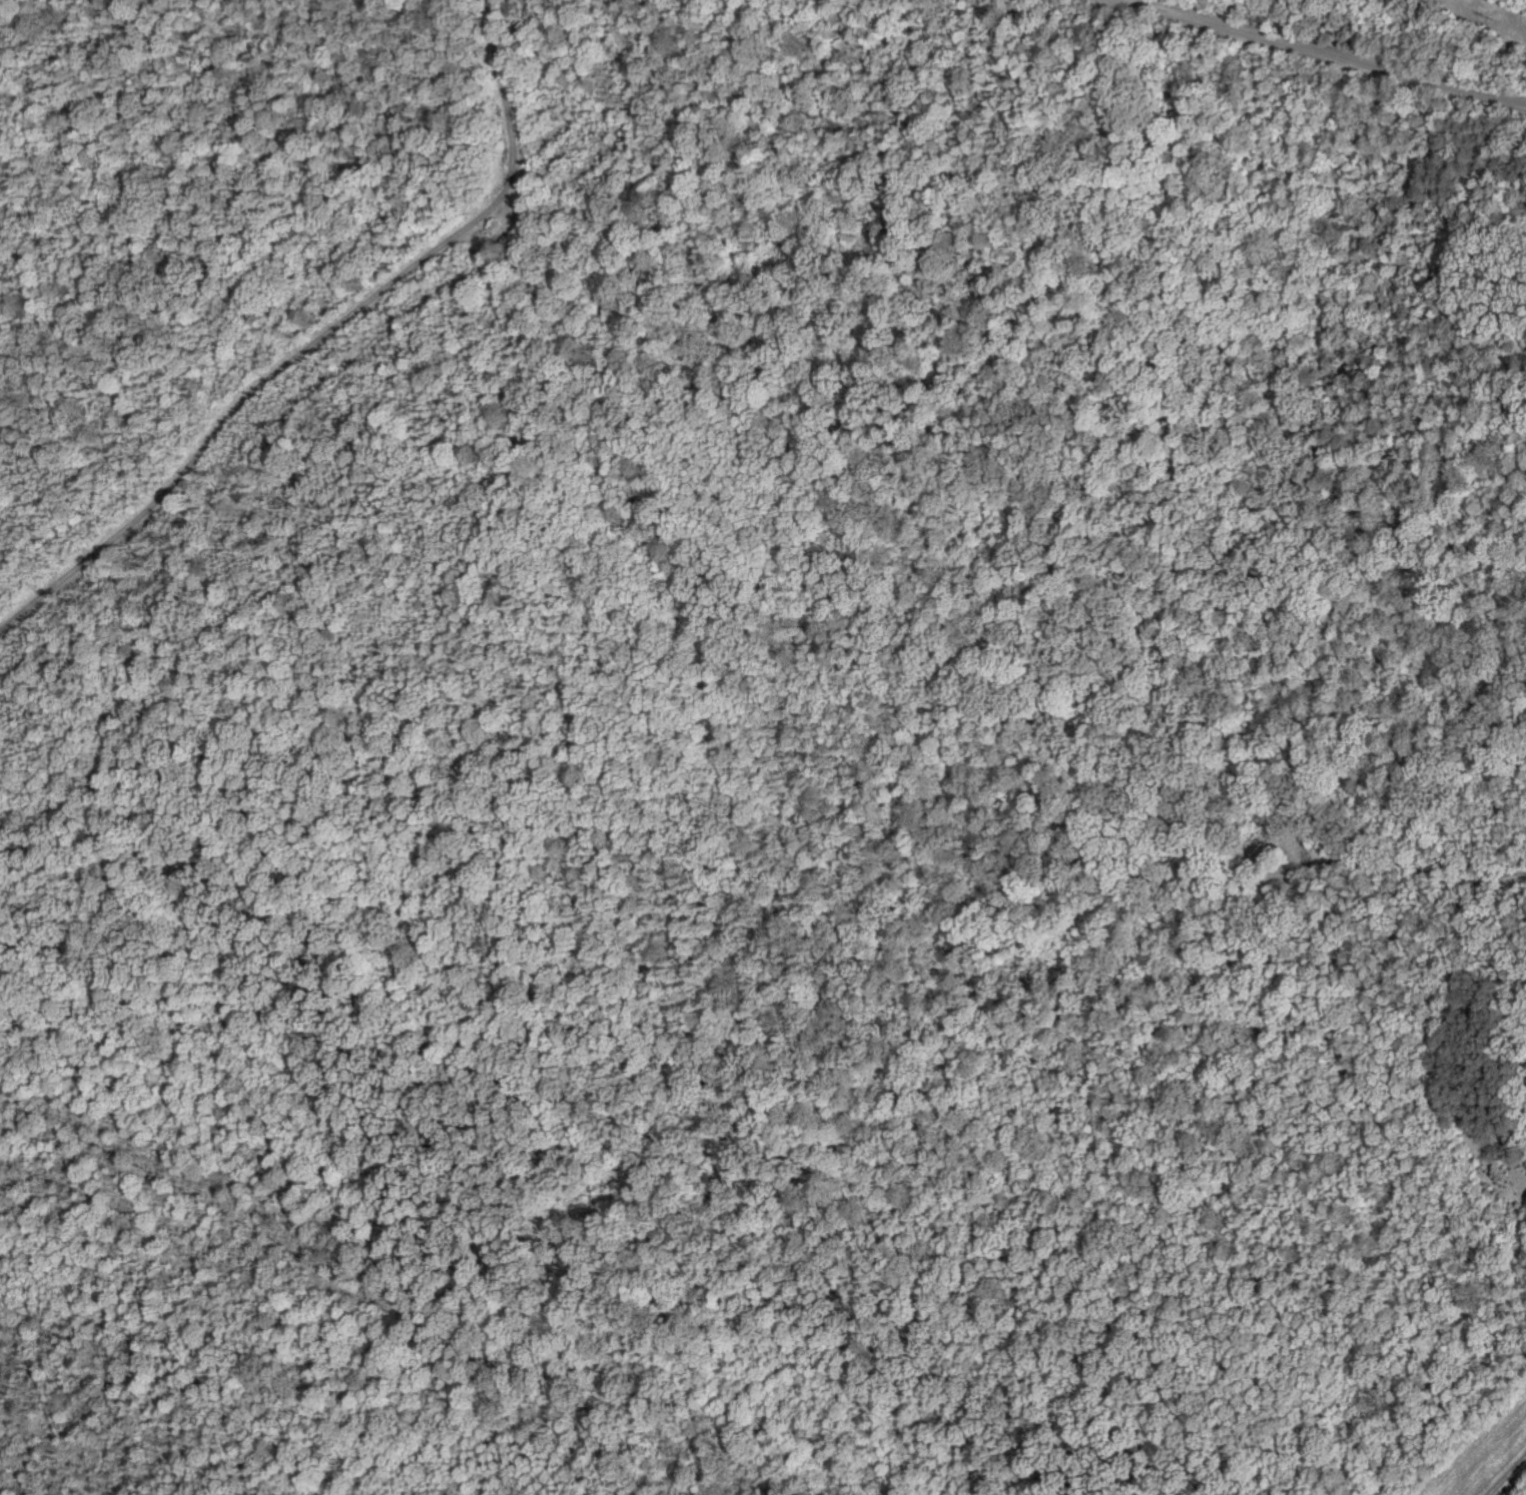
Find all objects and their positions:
road: (1329, 50)

